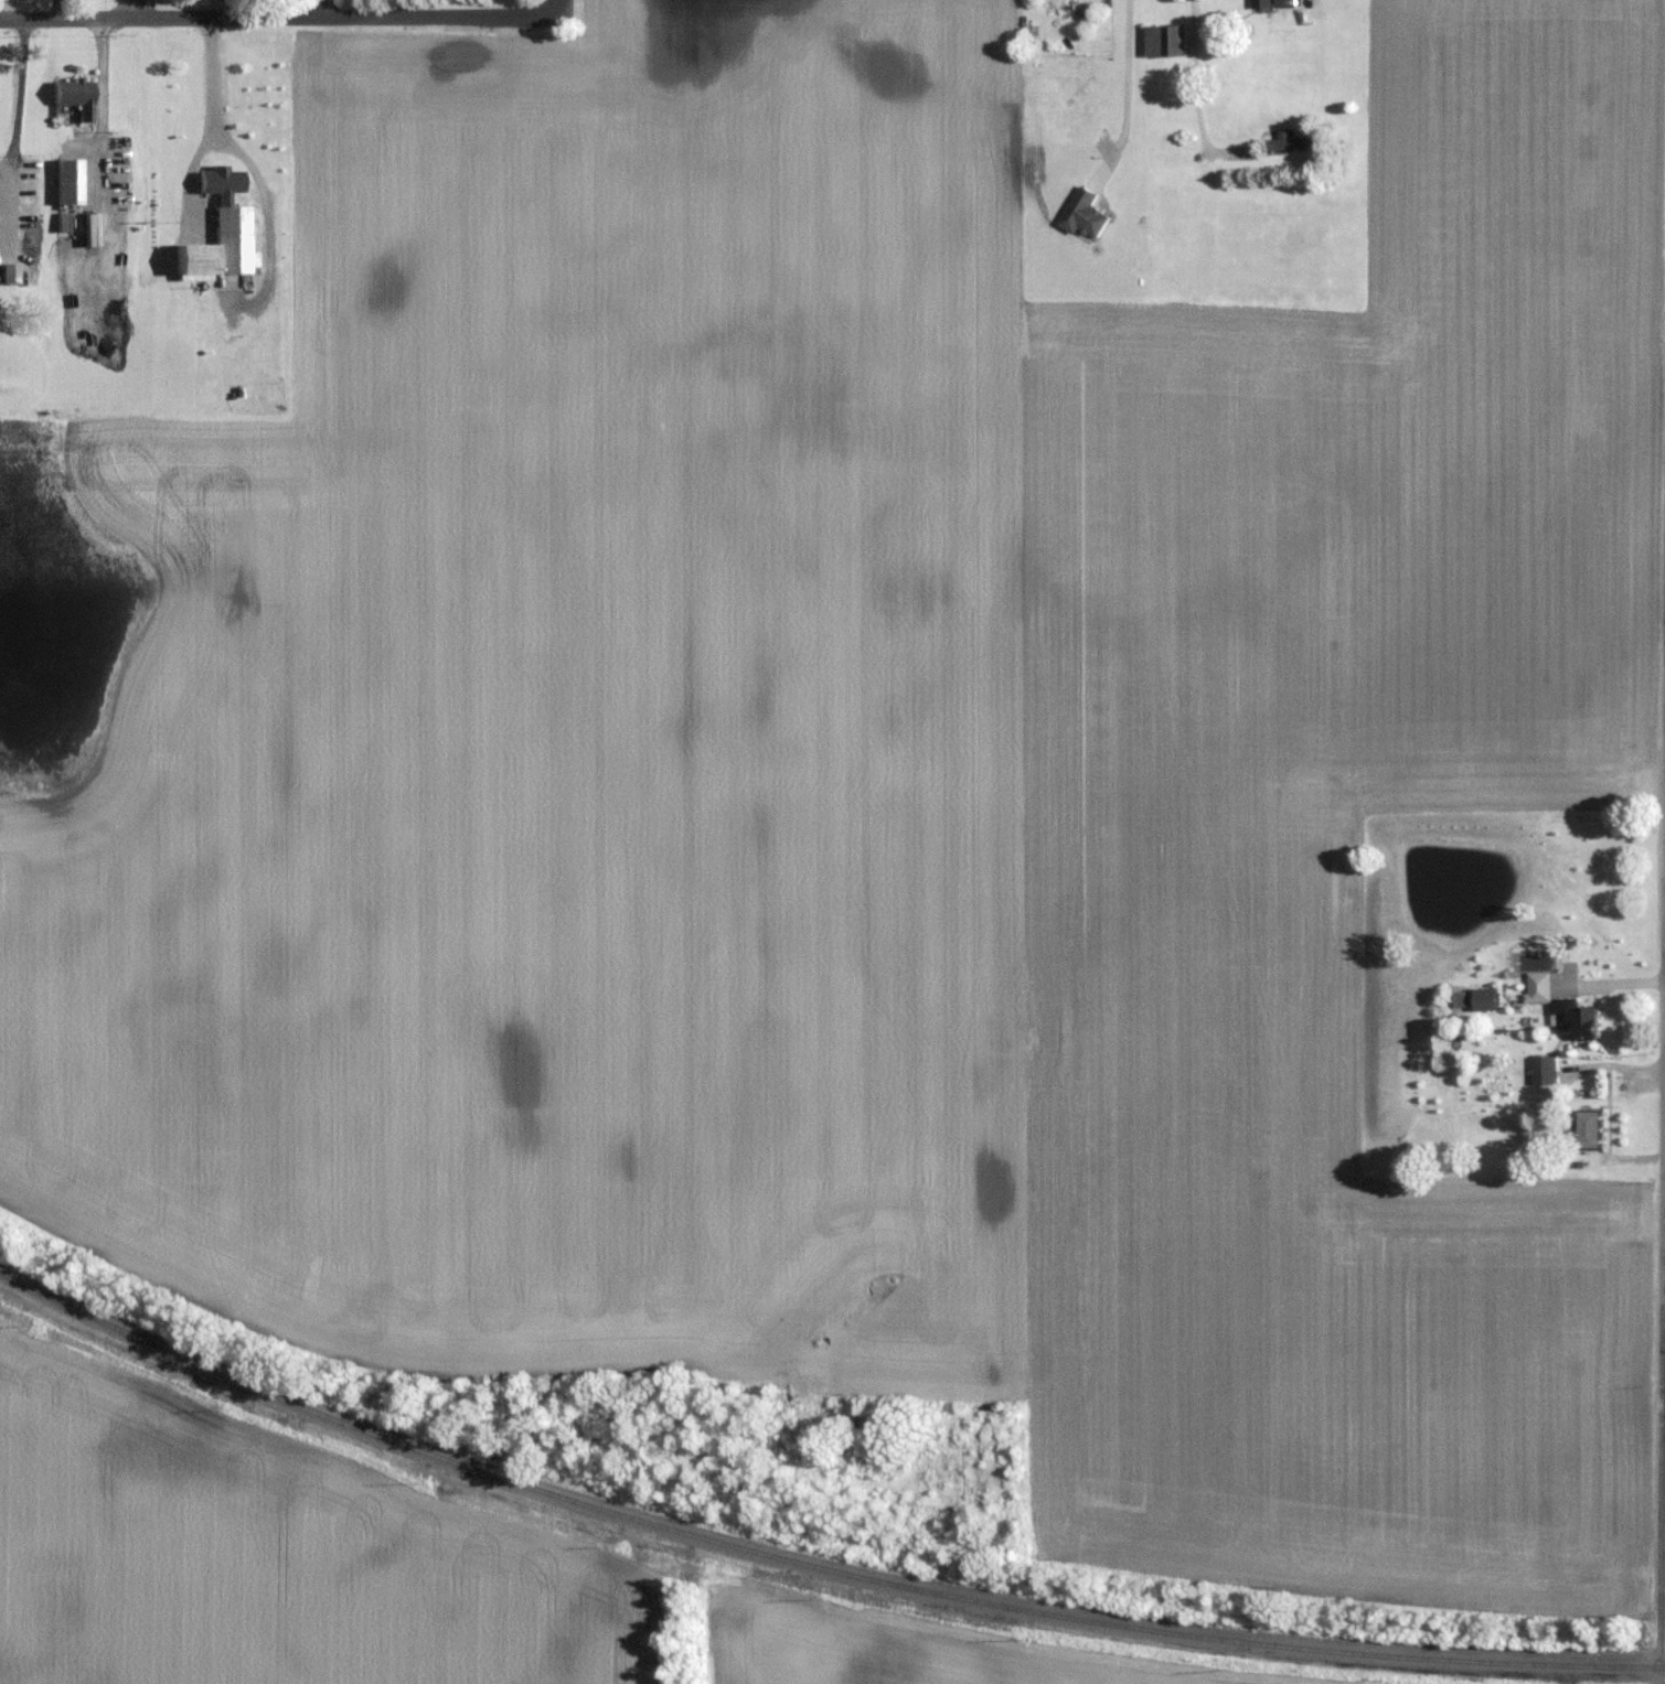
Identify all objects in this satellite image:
road: (137, 8)
road: (562, 8)
road: (280, 15)
building: (1165, 39)
road: (1122, 88)
road: (1194, 89)
building: (78, 95)
road: (102, 100)
road: (214, 126)
road: (15, 130)
building: (71, 179)
building: (1088, 213)
road: (264, 218)
building: (222, 228)
building: (1488, 999)
building: (1578, 1017)
building: (1547, 1069)
building: (1594, 1128)
road: (1662, 1440)
railway: (808, 1565)

